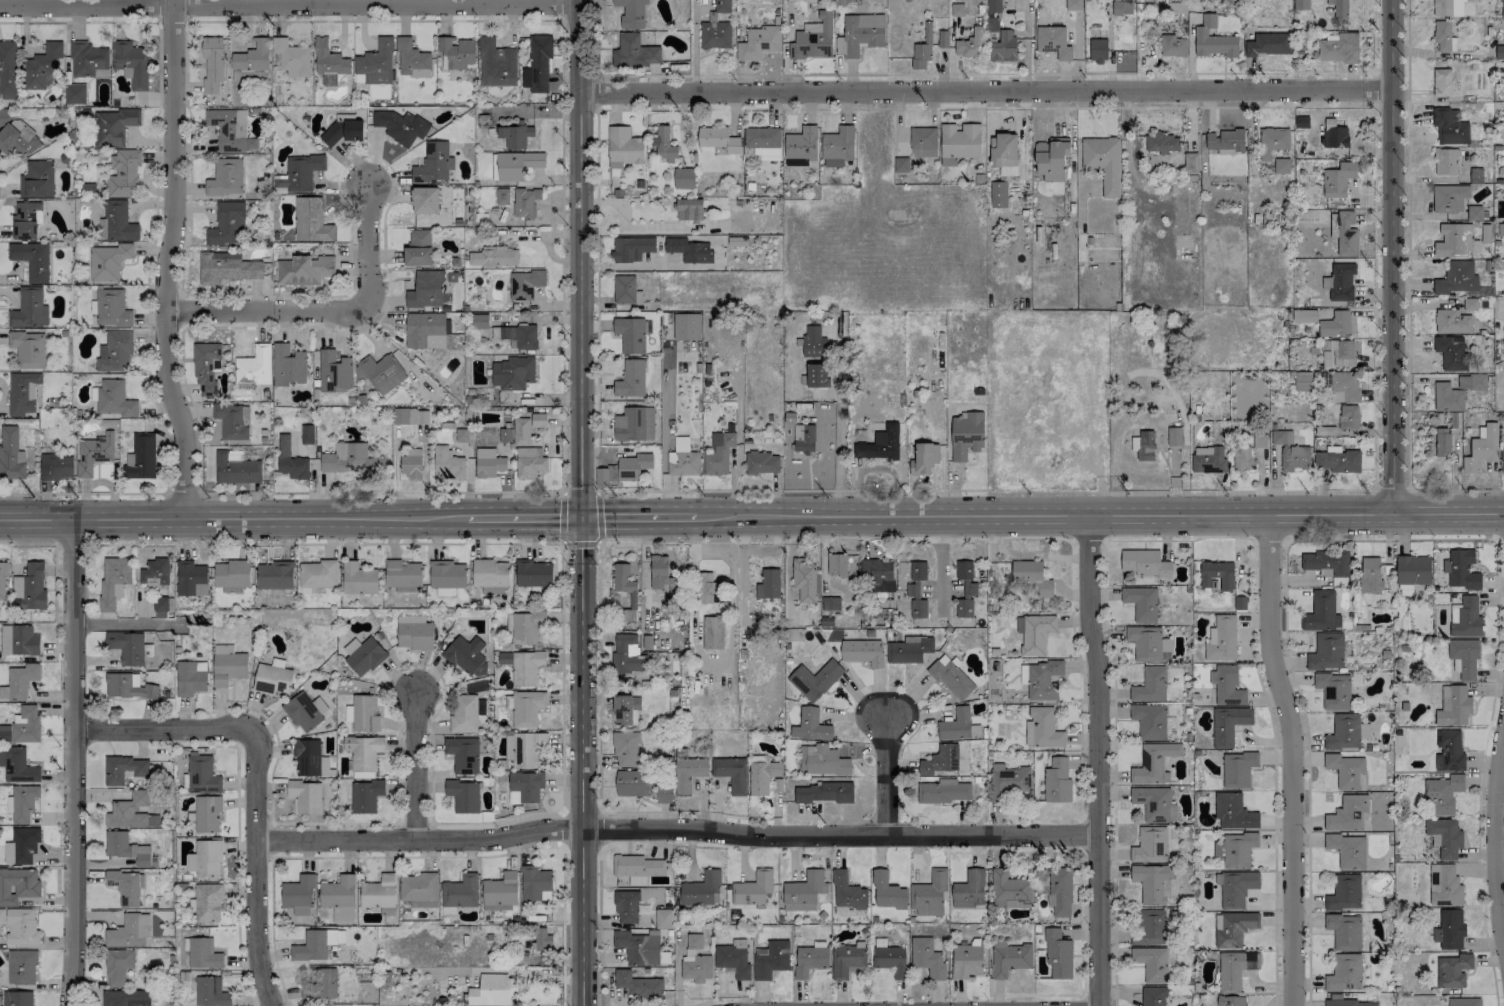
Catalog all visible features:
building: (1466, 0)
road: (289, 3)
building: (1073, 4)
building: (1301, 4)
building: (722, 6)
building: (993, 6)
building: (1121, 8)
building: (1339, 8)
building: (1442, 8)
building: (1502, 8)
road: (559, 12)
building: (631, 13)
road: (76, 21)
building: (715, 34)
building: (859, 34)
road: (1373, 35)
building: (1443, 36)
building: (943, 38)
building: (813, 39)
building: (1214, 41)
building: (1053, 42)
building: (758, 43)
building: (969, 44)
building: (1268, 44)
building: (1172, 45)
building: (1004, 46)
building: (1338, 48)
building: (922, 49)
building: (1098, 50)
building: (455, 52)
building: (634, 52)
building: (1499, 52)
building: (292, 57)
building: (86, 59)
building: (412, 59)
building: (251, 62)
building: (376, 62)
building: (539, 62)
building: (130, 63)
building: (212, 63)
building: (329, 63)
building: (496, 64)
building: (42, 66)
building: (7, 69)
building: (1442, 82)
road: (1374, 89)
road: (986, 92)
building: (74, 93)
road: (885, 109)
building: (4, 115)
building: (1503, 115)
building: (1301, 122)
building: (112, 126)
building: (400, 126)
building: (1449, 126)
building: (230, 130)
building: (343, 130)
building: (515, 135)
building: (1332, 135)
building: (718, 139)
building: (17, 140)
building: (1224, 140)
building: (1272, 141)
building: (763, 142)
building: (922, 142)
building: (959, 142)
building: (1161, 143)
building: (665, 144)
building: (801, 146)
building: (837, 146)
building: (623, 147)
building: (1003, 150)
building: (1051, 159)
building: (1445, 161)
building: (1103, 162)
building: (1190, 162)
building: (433, 163)
building: (517, 164)
building: (901, 164)
building: (1281, 165)
building: (1007, 170)
building: (123, 173)
building: (298, 173)
building: (225, 177)
building: (683, 177)
building: (37, 179)
building: (1337, 179)
road: (3, 187)
building: (998, 191)
building: (502, 196)
building: (1449, 198)
building: (424, 200)
building: (525, 202)
road: (602, 209)
building: (688, 209)
building: (1474, 213)
building: (26, 220)
building: (311, 221)
building: (116, 222)
building: (226, 224)
road: (651, 228)
building: (1500, 229)
building: (1344, 232)
building: (1456, 240)
road: (1408, 246)
road: (363, 247)
building: (418, 248)
building: (631, 248)
building: (694, 252)
building: (493, 256)
road: (1393, 256)
road: (580, 257)
building: (31, 260)
building: (108, 261)
road: (167, 261)
building: (226, 267)
building: (303, 269)
building: (1456, 278)
building: (1341, 281)
building: (525, 284)
building: (425, 289)
building: (625, 290)
road: (1374, 299)
building: (111, 308)
building: (29, 309)
road: (261, 312)
building: (1304, 316)
building: (478, 319)
building: (1451, 321)
building: (1336, 324)
building: (686, 326)
road: (260, 329)
building: (425, 330)
building: (1503, 332)
building: (630, 334)
building: (517, 336)
building: (812, 341)
road: (388, 347)
building: (28, 349)
building: (114, 351)
building: (1451, 352)
building: (1339, 353)
building: (287, 365)
building: (254, 366)
building: (206, 368)
building: (334, 371)
building: (380, 372)
building: (512, 373)
building: (817, 375)
building: (630, 379)
building: (1302, 381)
building: (1471, 382)
building: (1344, 386)
building: (22, 392)
building: (1447, 397)
building: (114, 398)
building: (410, 416)
building: (1348, 416)
building: (538, 420)
building: (230, 421)
building: (634, 424)
road: (839, 424)
building: (521, 431)
building: (306, 434)
building: (462, 435)
building: (505, 435)
road: (664, 435)
building: (966, 435)
building: (1174, 436)
building: (803, 438)
building: (1442, 442)
building: (879, 444)
building: (1143, 445)
building: (1481, 447)
building: (1291, 452)
building: (94, 453)
building: (718, 453)
building: (10, 454)
building: (1502, 456)
building: (140, 457)
building: (682, 458)
building: (924, 458)
building: (350, 459)
building: (1208, 459)
building: (1242, 459)
building: (1337, 460)
building: (291, 461)
building: (448, 462)
building: (529, 462)
building: (762, 462)
building: (488, 463)
building: (411, 464)
building: (56, 467)
building: (235, 468)
building: (623, 469)
road: (1174, 481)
road: (1242, 492)
road: (82, 493)
road: (622, 515)
road: (680, 515)
road: (1100, 515)
road: (524, 516)
road: (234, 519)
road: (1392, 541)
road: (940, 558)
building: (1326, 562)
building: (1145, 563)
building: (836, 565)
building: (917, 570)
building: (963, 570)
building: (1412, 570)
building: (1460, 570)
building: (154, 571)
building: (402, 573)
building: (490, 573)
building: (533, 573)
building: (231, 574)
building: (318, 574)
building: (447, 574)
building: (661, 574)
building: (877, 574)
building: (1217, 574)
building: (275, 575)
building: (1032, 576)
building: (1371, 576)
building: (3, 577)
building: (191, 578)
building: (358, 579)
building: (113, 580)
building: (804, 580)
building: (768, 584)
building: (30, 587)
building: (705, 587)
building: (446, 592)
building: (830, 603)
building: (1141, 603)
building: (160, 604)
building: (917, 608)
building: (964, 608)
building: (1321, 612)
building: (1465, 617)
building: (525, 626)
building: (414, 632)
building: (712, 632)
building: (1034, 633)
building: (1221, 639)
building: (18, 640)
building: (1148, 643)
building: (126, 647)
building: (909, 649)
building: (862, 651)
building: (1326, 651)
building: (465, 654)
building: (627, 654)
building: (363, 655)
building: (1463, 658)
building: (227, 665)
building: (523, 666)
building: (951, 677)
building: (189, 679)
building: (272, 679)
building: (814, 679)
building: (1042, 680)
building: (19, 681)
building: (1150, 685)
building: (1226, 685)
building: (128, 687)
building: (1333, 690)
building: (1453, 706)
building: (525, 707)
building: (625, 709)
building: (305, 711)
building: (362, 713)
building: (463, 713)
building: (1149, 720)
building: (25, 724)
building: (1228, 724)
building: (810, 725)
building: (955, 725)
building: (1042, 728)
road: (171, 730)
building: (975, 731)
building: (1343, 732)
building: (527, 748)
building: (625, 748)
building: (363, 751)
building: (1449, 751)
building: (462, 754)
building: (306, 757)
road: (1292, 759)
road: (581, 760)
building: (942, 760)
road: (1100, 760)
building: (825, 761)
road: (74, 763)
building: (1153, 763)
building: (17, 765)
building: (324, 766)
building: (124, 769)
building: (1237, 769)
road: (415, 770)
building: (687, 770)
building: (1346, 771)
building: (731, 773)
building: (202, 774)
building: (762, 776)
road: (888, 776)
building: (1056, 780)
building: (1009, 781)
building: (631, 783)
building: (525, 786)
building: (943, 791)
building: (663, 792)
building: (825, 792)
building: (1441, 794)
building: (365, 795)
building: (463, 795)
building: (305, 796)
building: (21, 802)
building: (1154, 804)
building: (128, 811)
building: (1233, 811)
building: (206, 813)
building: (1348, 814)
road: (676, 831)
building: (1444, 836)
road: (1496, 839)
building: (24, 844)
building: (1150, 845)
building: (126, 848)
building: (1236, 849)
building: (1347, 850)
building: (205, 858)
building: (637, 865)
road: (253, 878)
building: (637, 880)
building: (534, 882)
building: (1151, 883)
building: (18, 885)
building: (1444, 885)
building: (124, 887)
building: (1235, 887)
building: (753, 888)
building: (803, 888)
building: (419, 889)
building: (701, 889)
building: (969, 889)
building: (1009, 890)
building: (460, 891)
building: (500, 891)
building: (847, 891)
building: (887, 891)
building: (1059, 891)
building: (338, 892)
building: (378, 892)
building: (1344, 892)
building: (928, 893)
building: (298, 894)
building: (207, 903)
building: (626, 906)
building: (343, 915)
building: (663, 918)
building: (20, 925)
building: (1149, 928)
building: (1234, 928)
building: (1449, 929)
building: (1344, 931)
building: (129, 932)
building: (331, 936)
building: (542, 939)
building: (694, 941)
building: (310, 946)
building: (637, 947)
building: (203, 954)
building: (1057, 954)
building: (927, 958)
building: (1009, 958)
building: (770, 959)
building: (846, 959)
building: (732, 960)
building: (809, 960)
building: (889, 960)
building: (967, 961)
building: (1151, 963)
building: (118, 966)
building: (21, 967)
building: (696, 968)
building: (1235, 969)
building: (1452, 970)
building: (320, 984)
building: (637, 984)
building: (491, 990)
building: (210, 992)
building: (1153, 996)
building: (17, 998)
building: (126, 998)
building: (1231, 1001)
building: (1464, 1002)
building: (1350, 1003)

